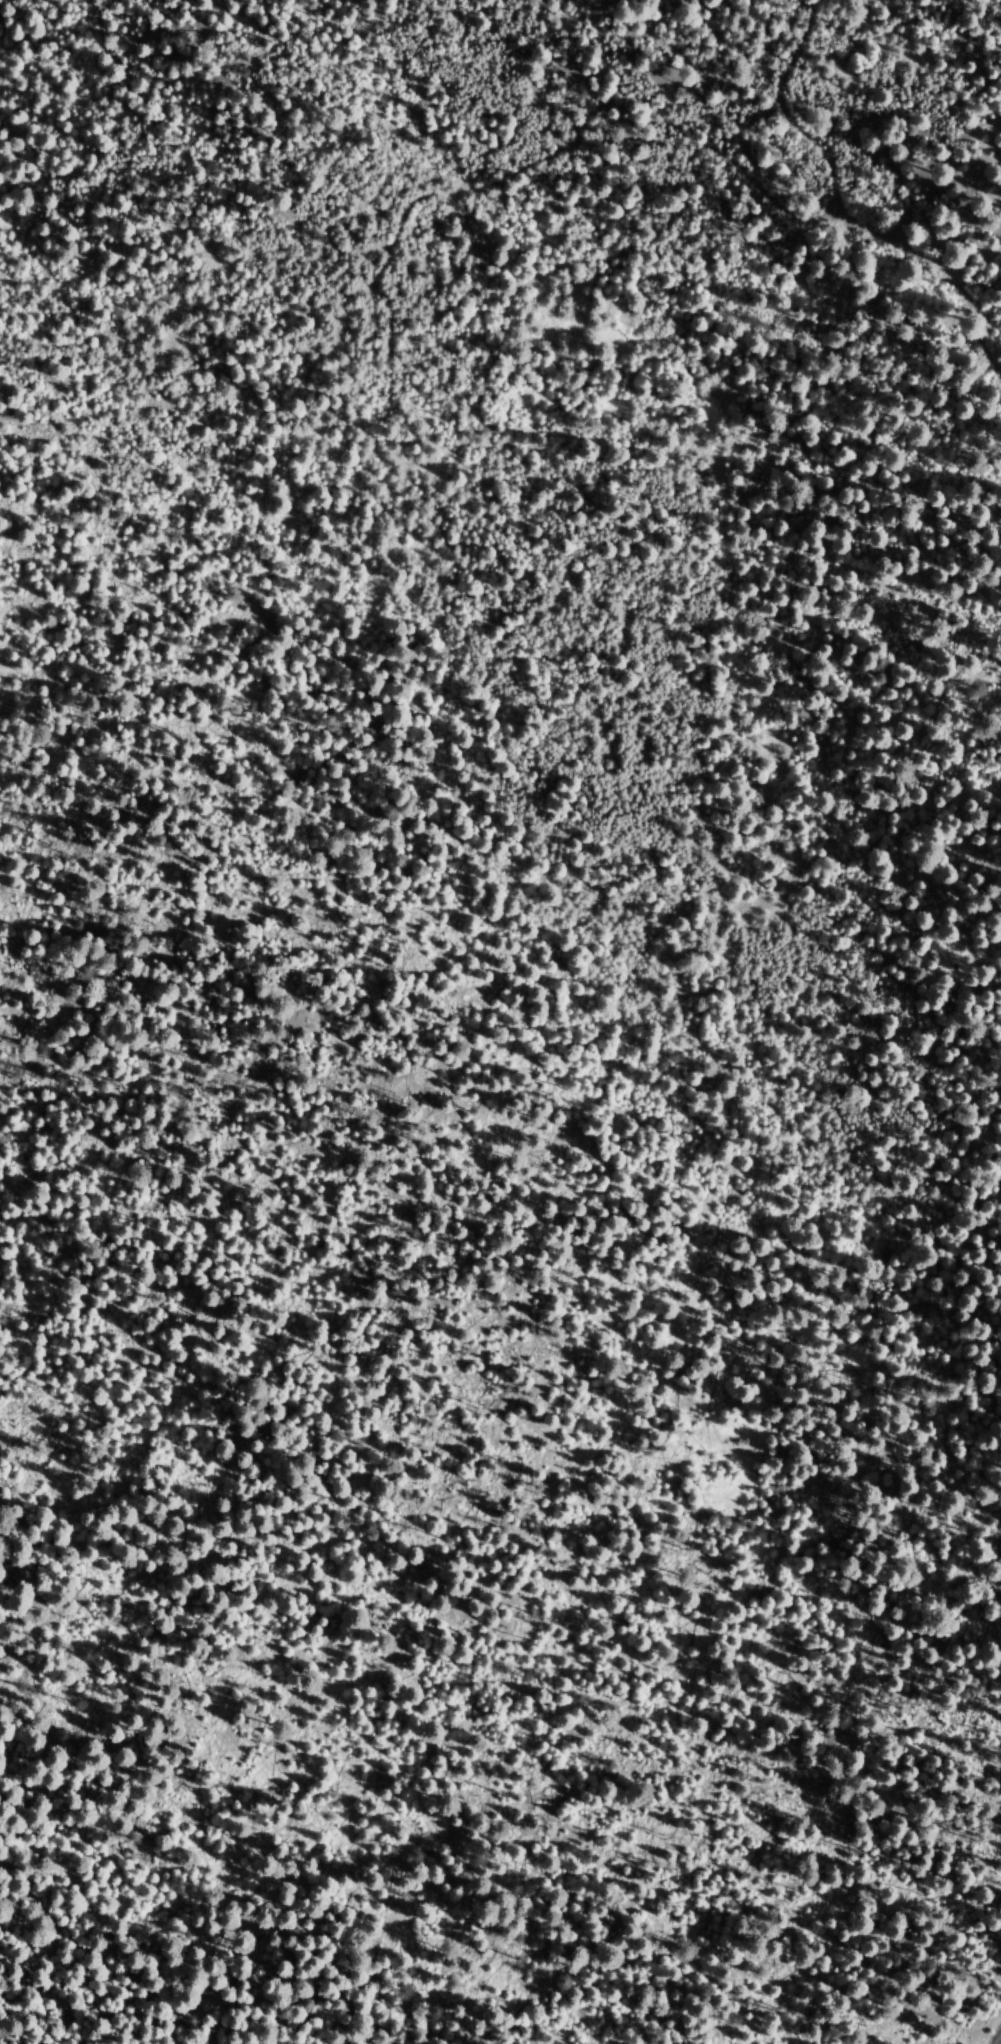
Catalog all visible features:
road: (894, 200)

